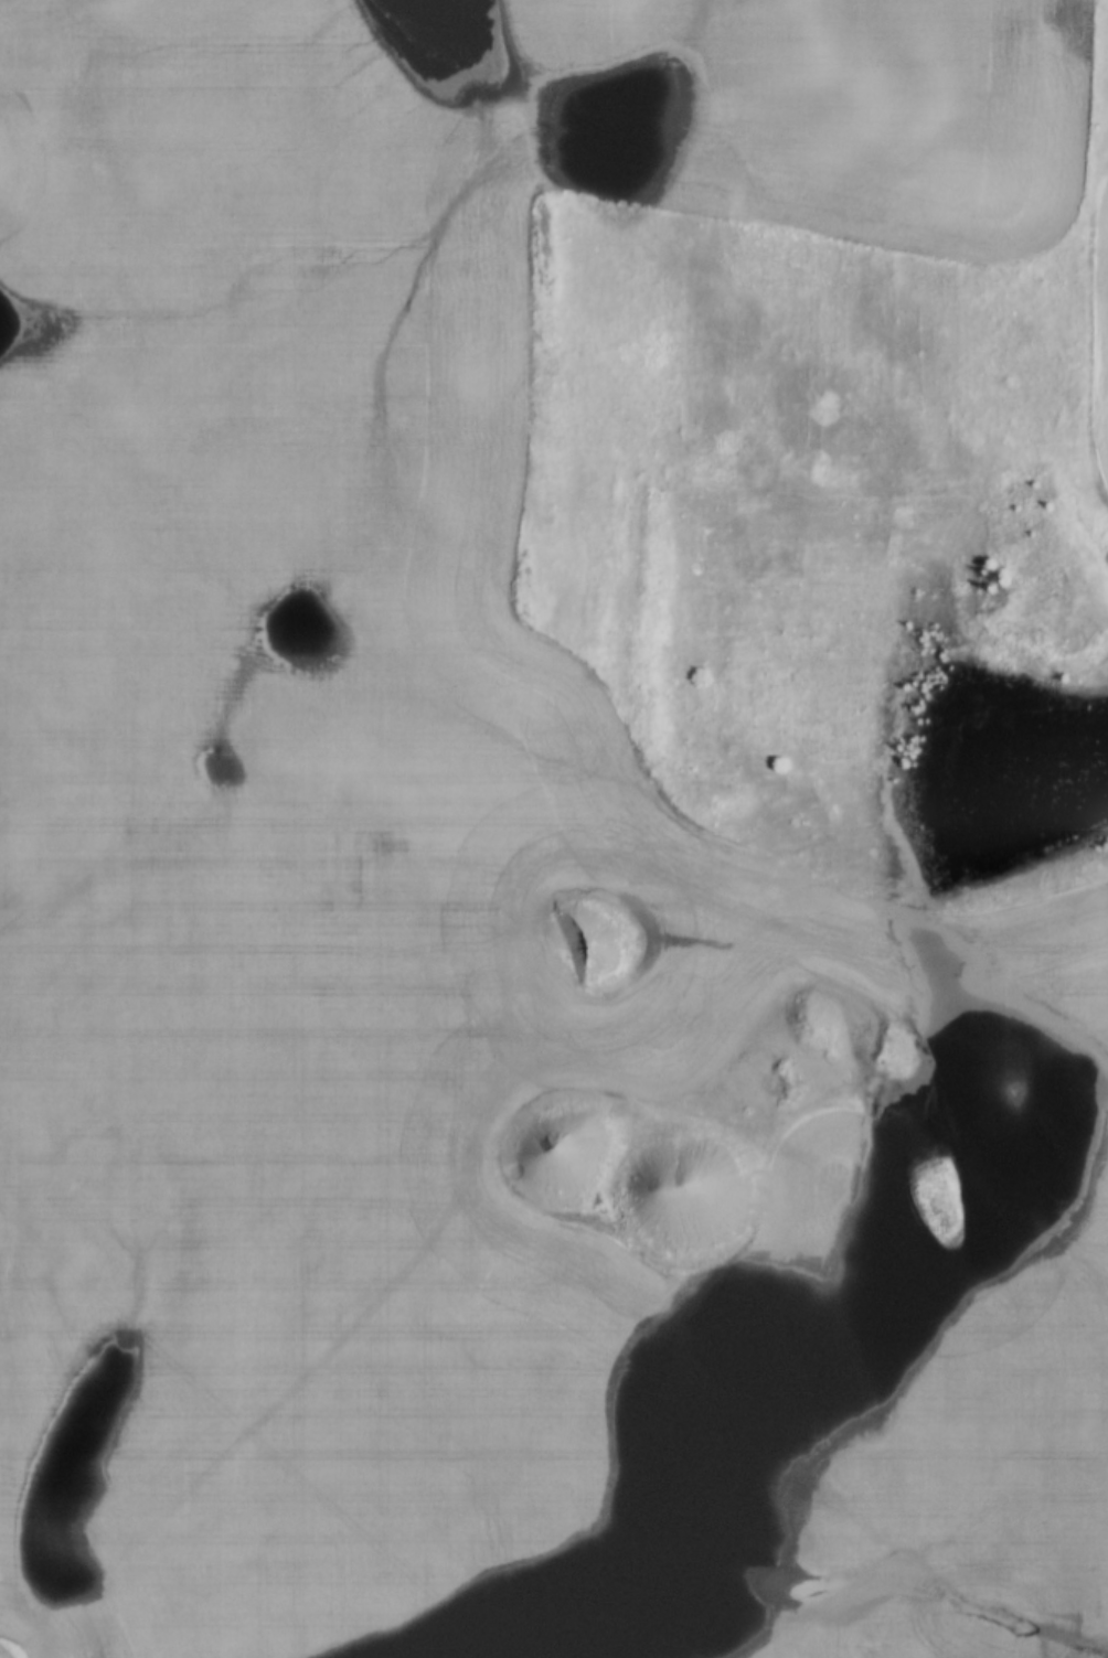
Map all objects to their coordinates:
road: (551, 729)

